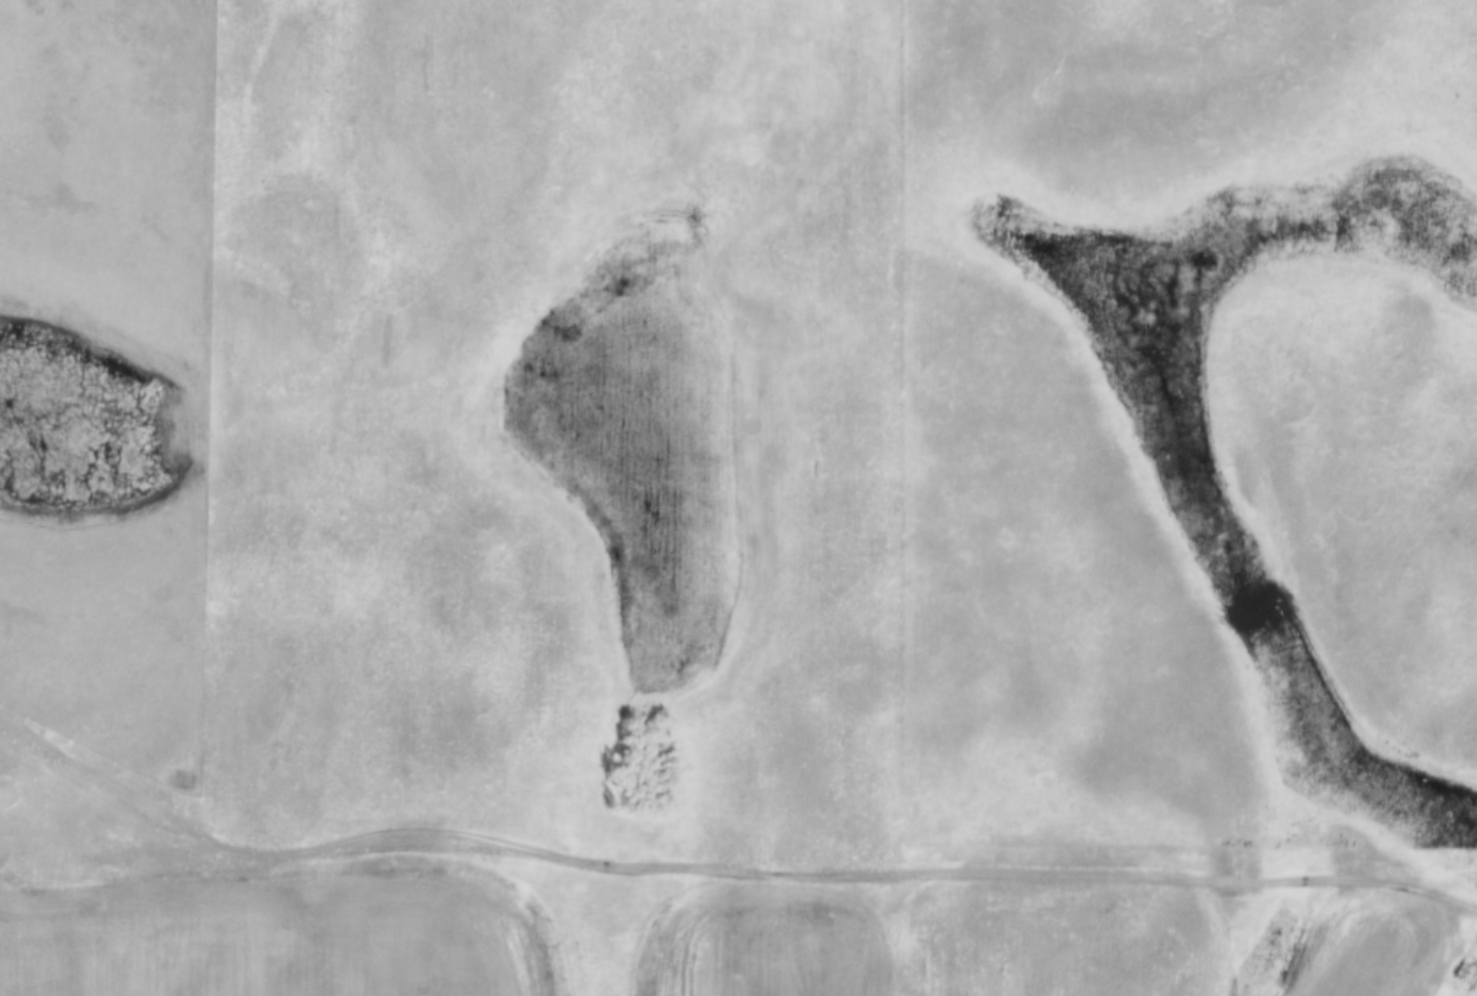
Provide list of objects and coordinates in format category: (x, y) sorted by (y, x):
road: (903, 498)
road: (720, 873)

